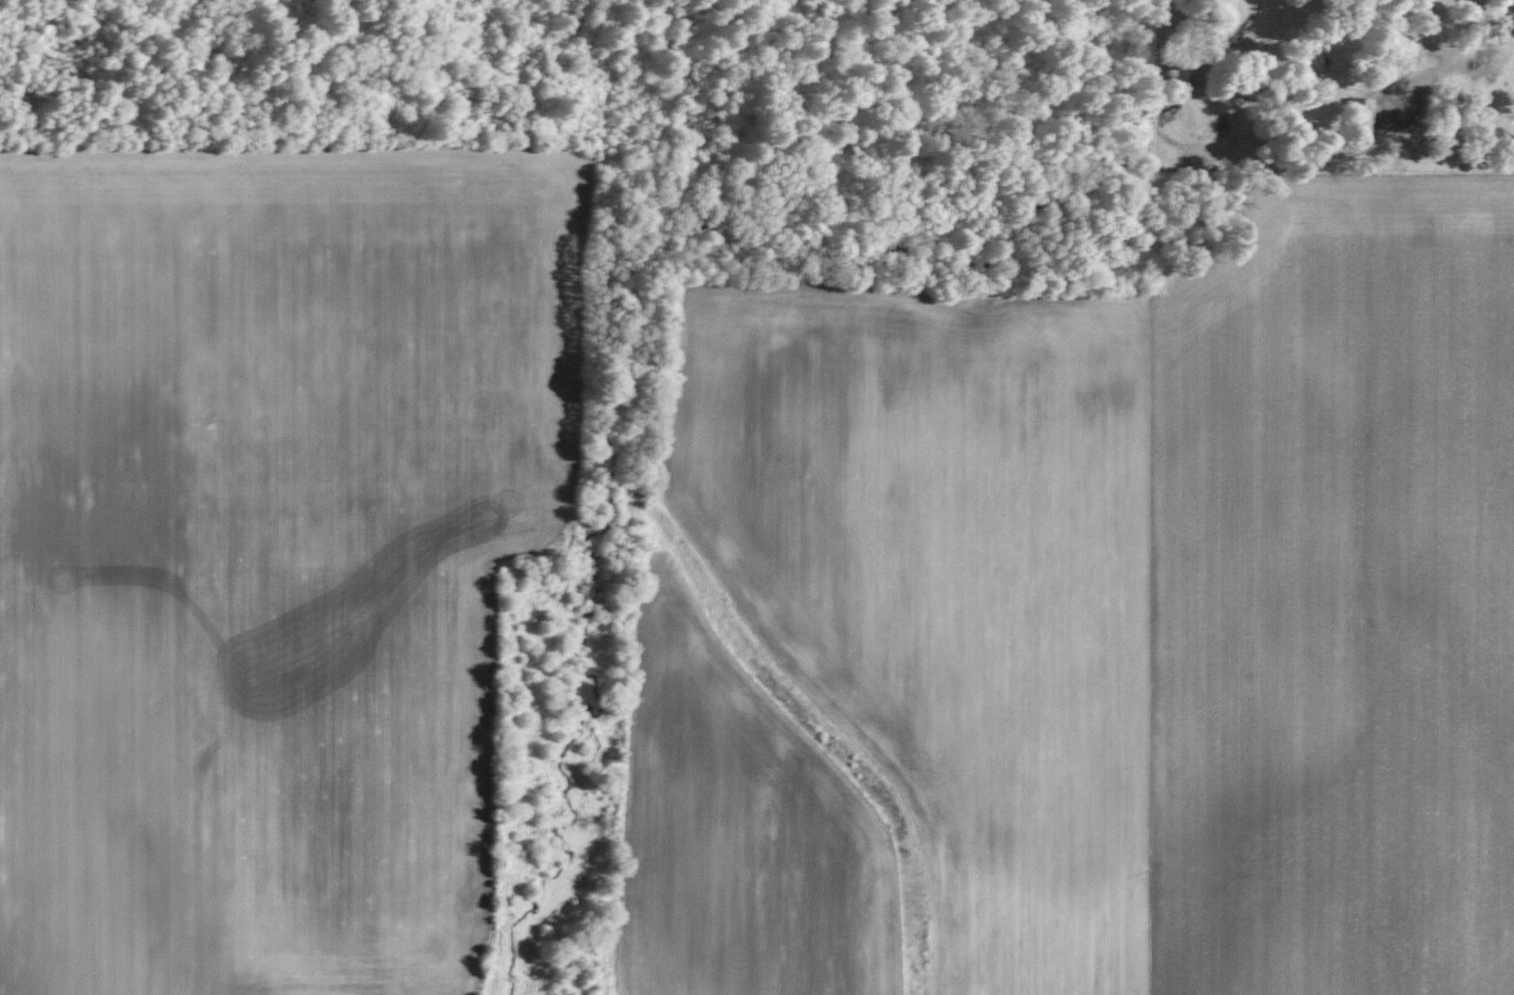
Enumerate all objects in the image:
building: (1358, 115)

